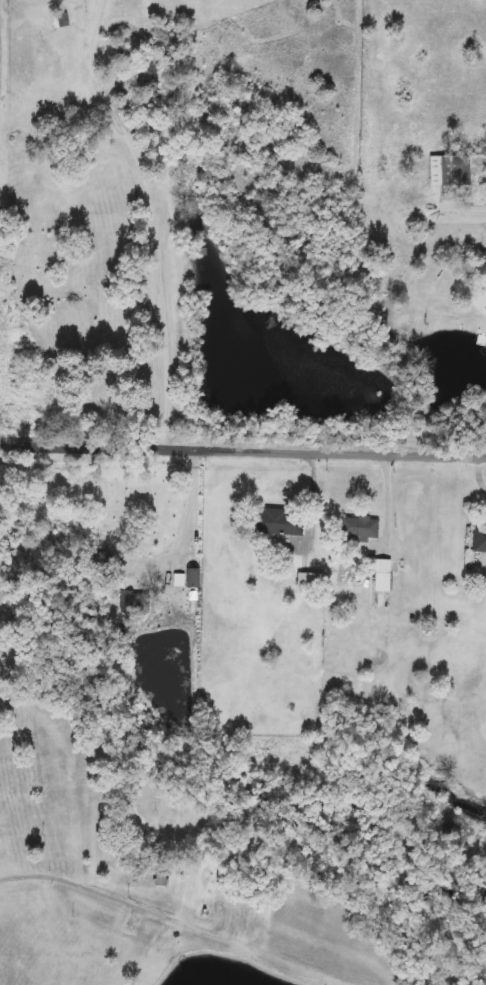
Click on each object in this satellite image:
building: (62, 21)
building: (148, 79)
building: (451, 171)
road: (475, 202)
road: (155, 220)
building: (483, 264)
road: (242, 449)
road: (193, 509)
building: (281, 523)
building: (361, 528)
building: (481, 538)
building: (194, 578)
building: (313, 580)
building: (139, 600)
building: (162, 878)
road: (86, 885)
road: (162, 951)
road: (278, 960)
building: (120, 977)

